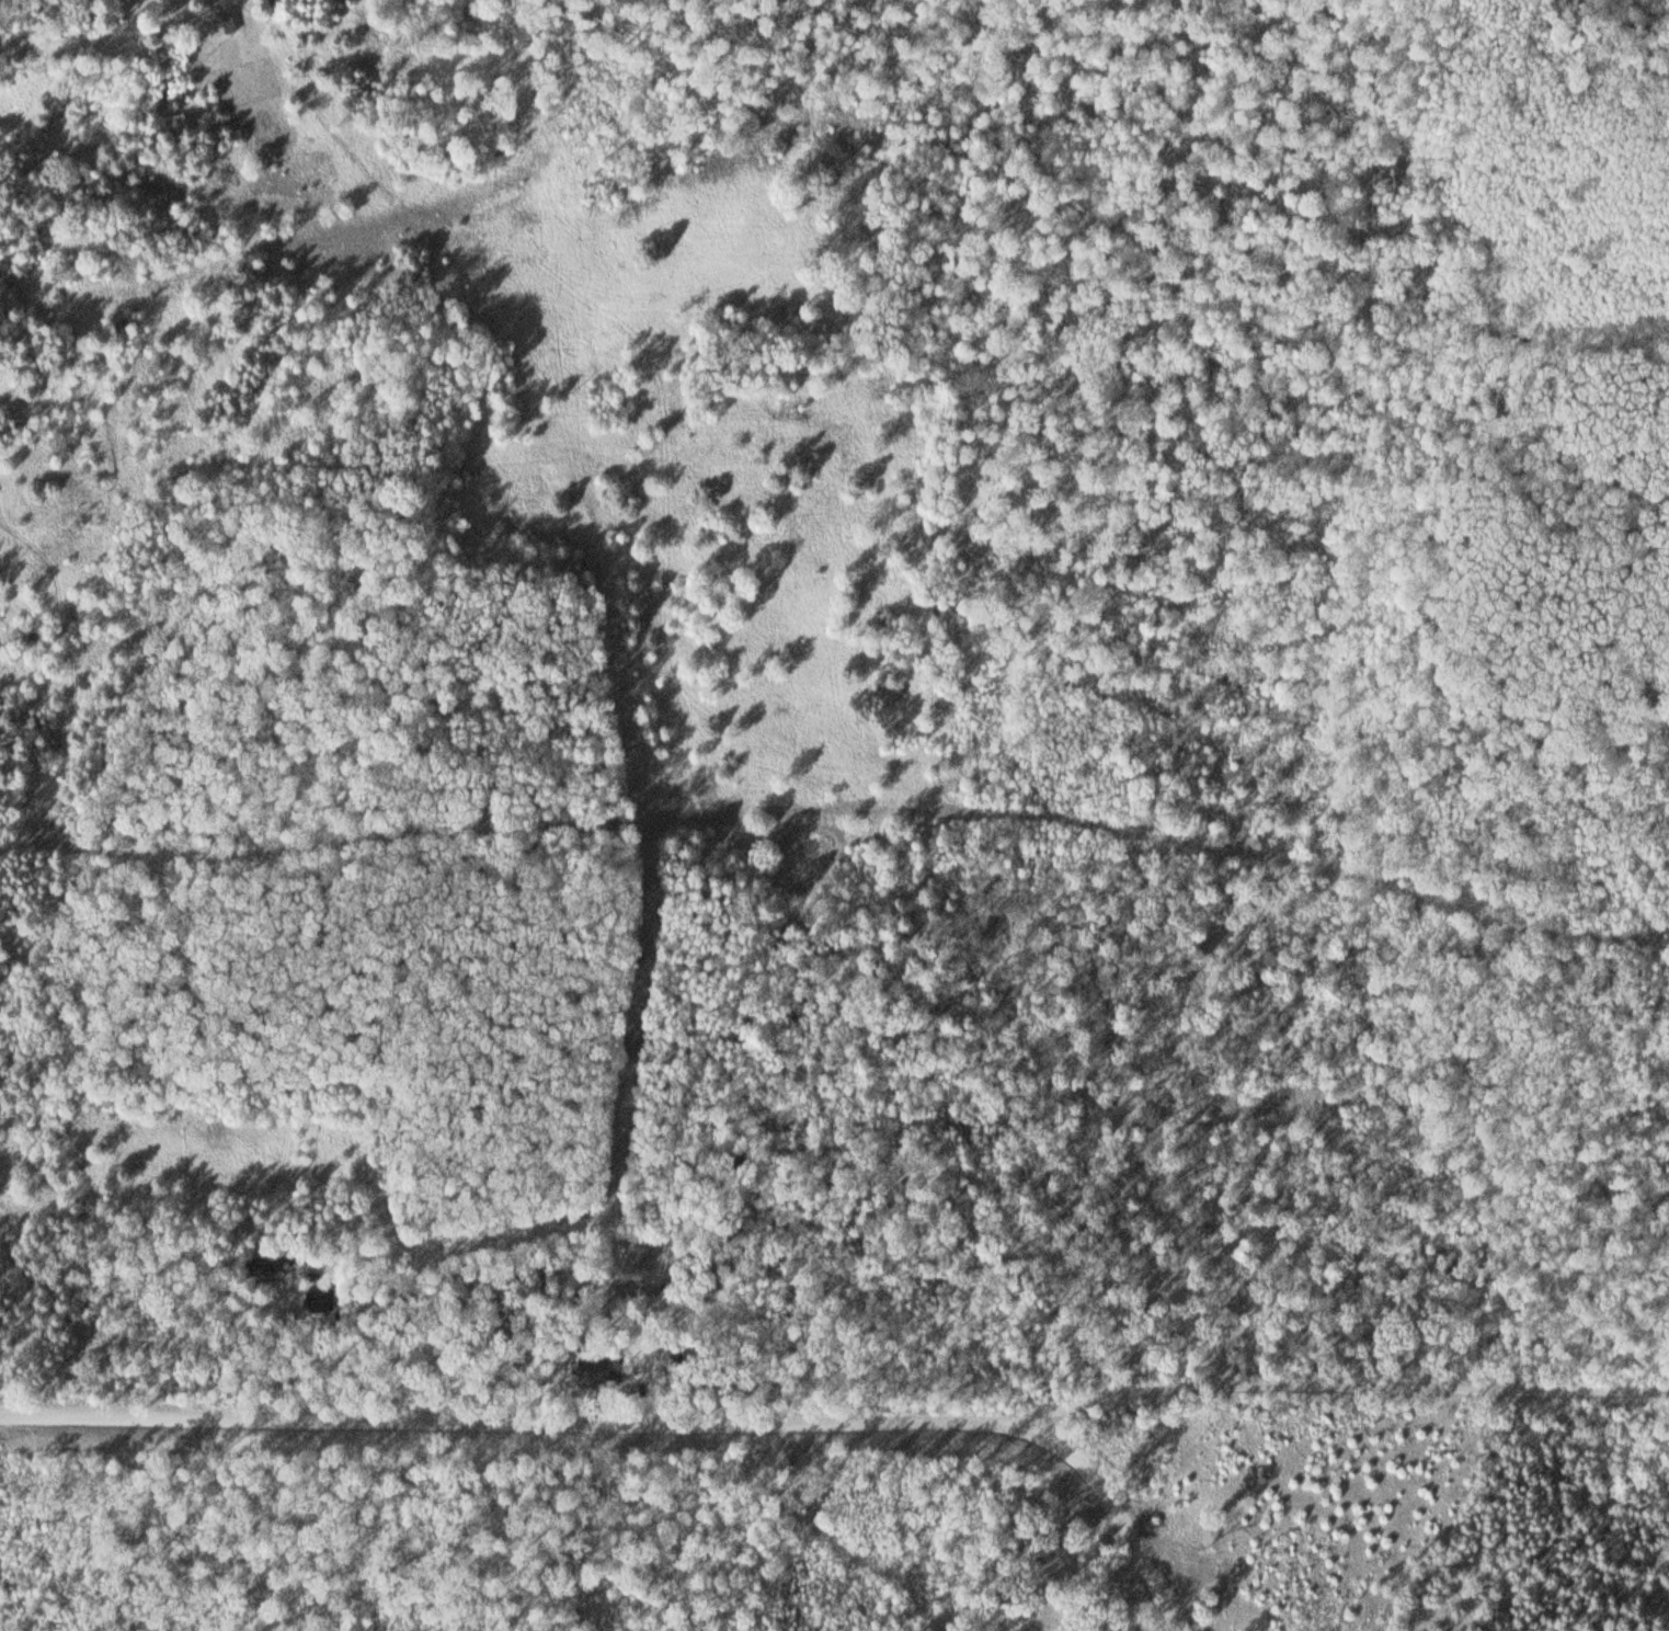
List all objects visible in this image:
building: (249, 1267)
building: (313, 1299)
building: (585, 1370)
road: (837, 1421)
road: (1110, 1527)

